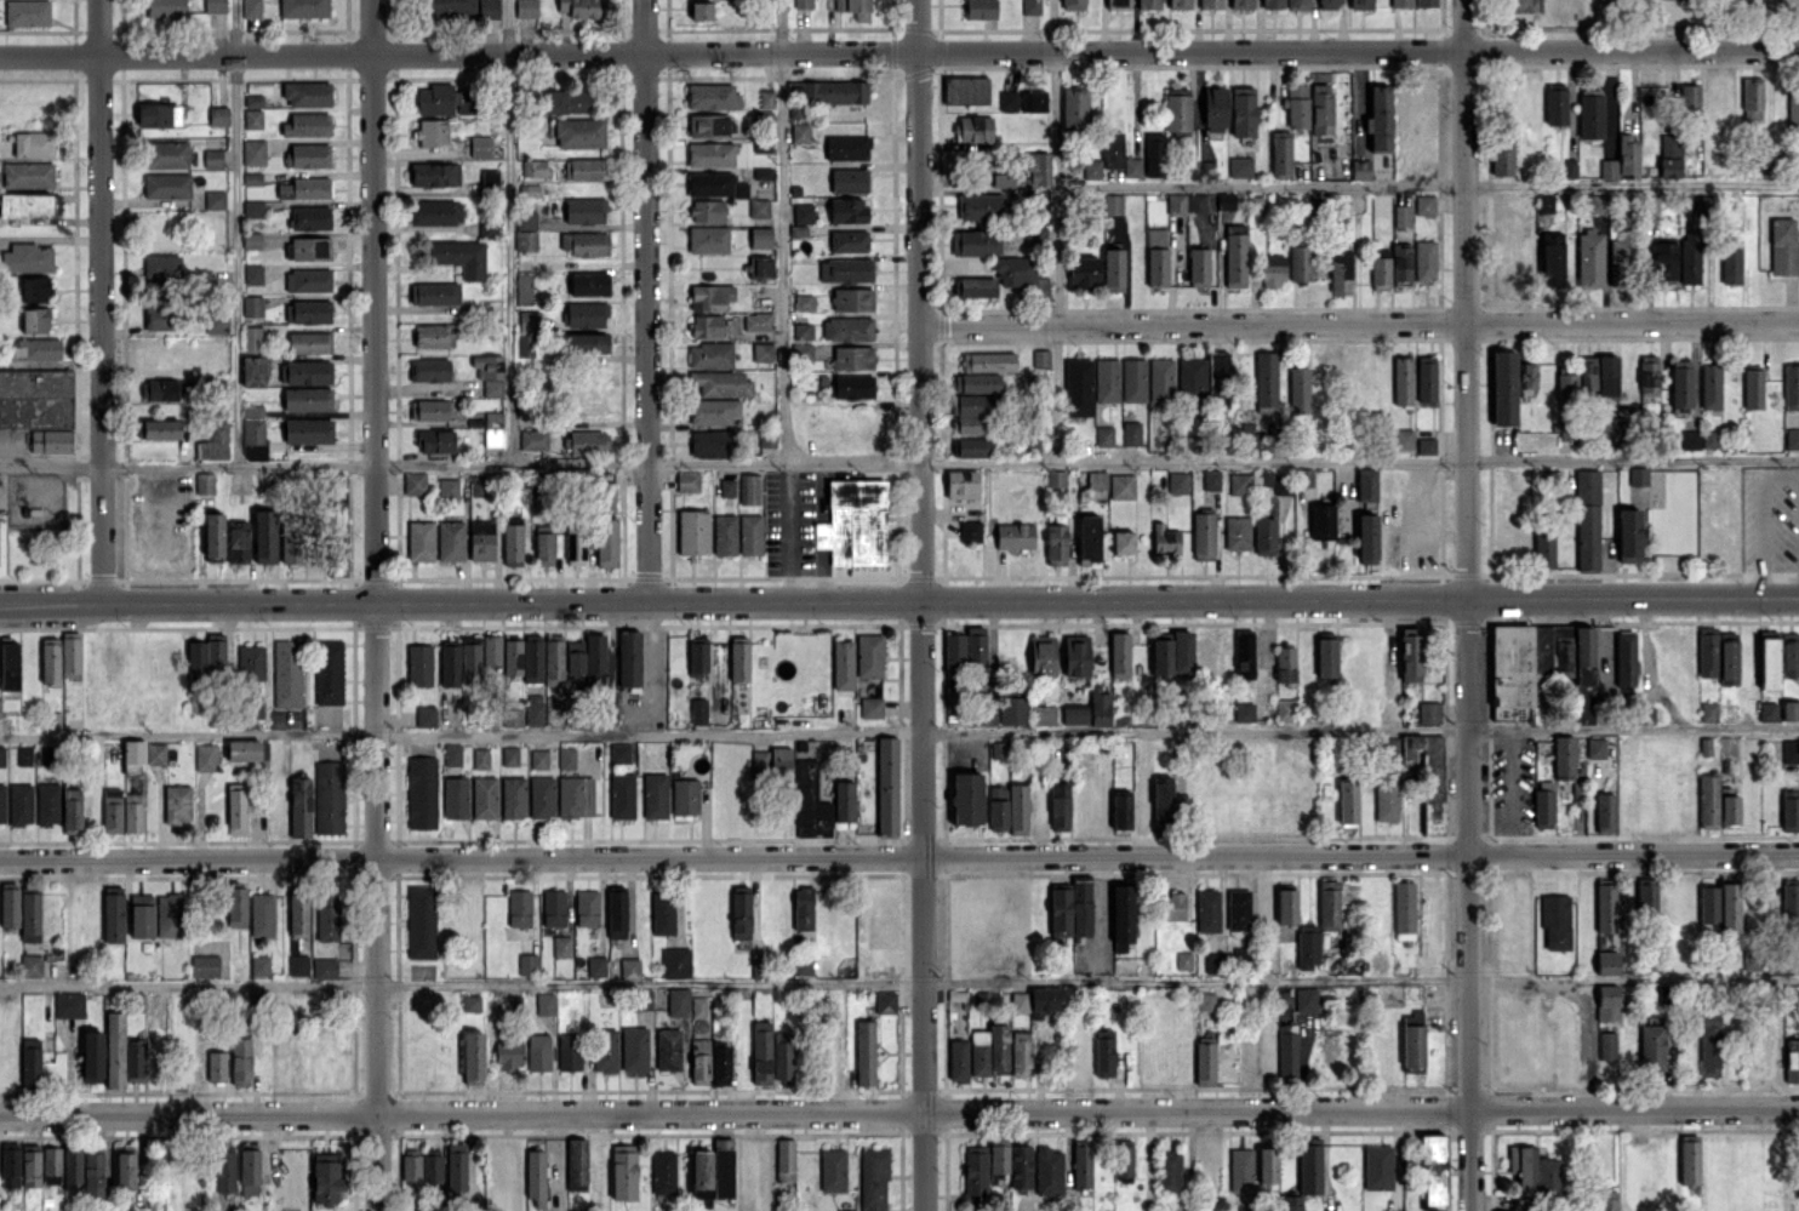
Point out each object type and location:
park: (1525, 5)
park: (1637, 18)
road: (898, 51)
building: (1752, 98)
building: (1793, 115)
road: (1427, 184)
road: (1056, 229)
road: (510, 230)
road: (784, 230)
road: (234, 232)
building: (1783, 246)
road: (1467, 298)
road: (371, 301)
road: (646, 301)
road: (918, 301)
road: (99, 302)
road: (1359, 324)
building: (1791, 385)
building: (1753, 388)
building: (1792, 439)
road: (898, 462)
road: (1781, 473)
parking lot: (1771, 513)
road: (789, 531)
road: (1764, 535)
road: (1359, 598)
road: (459, 602)
building: (1789, 657)
building: (1769, 662)
building: (1789, 709)
building: (1767, 710)
road: (899, 735)
building: (1786, 753)
building: (1789, 810)
road: (899, 856)
road: (1469, 904)
building: (1791, 904)
road: (921, 906)
road: (373, 907)
road: (898, 981)
building: (1792, 1059)
road: (899, 1112)
building: (1377, 1166)

